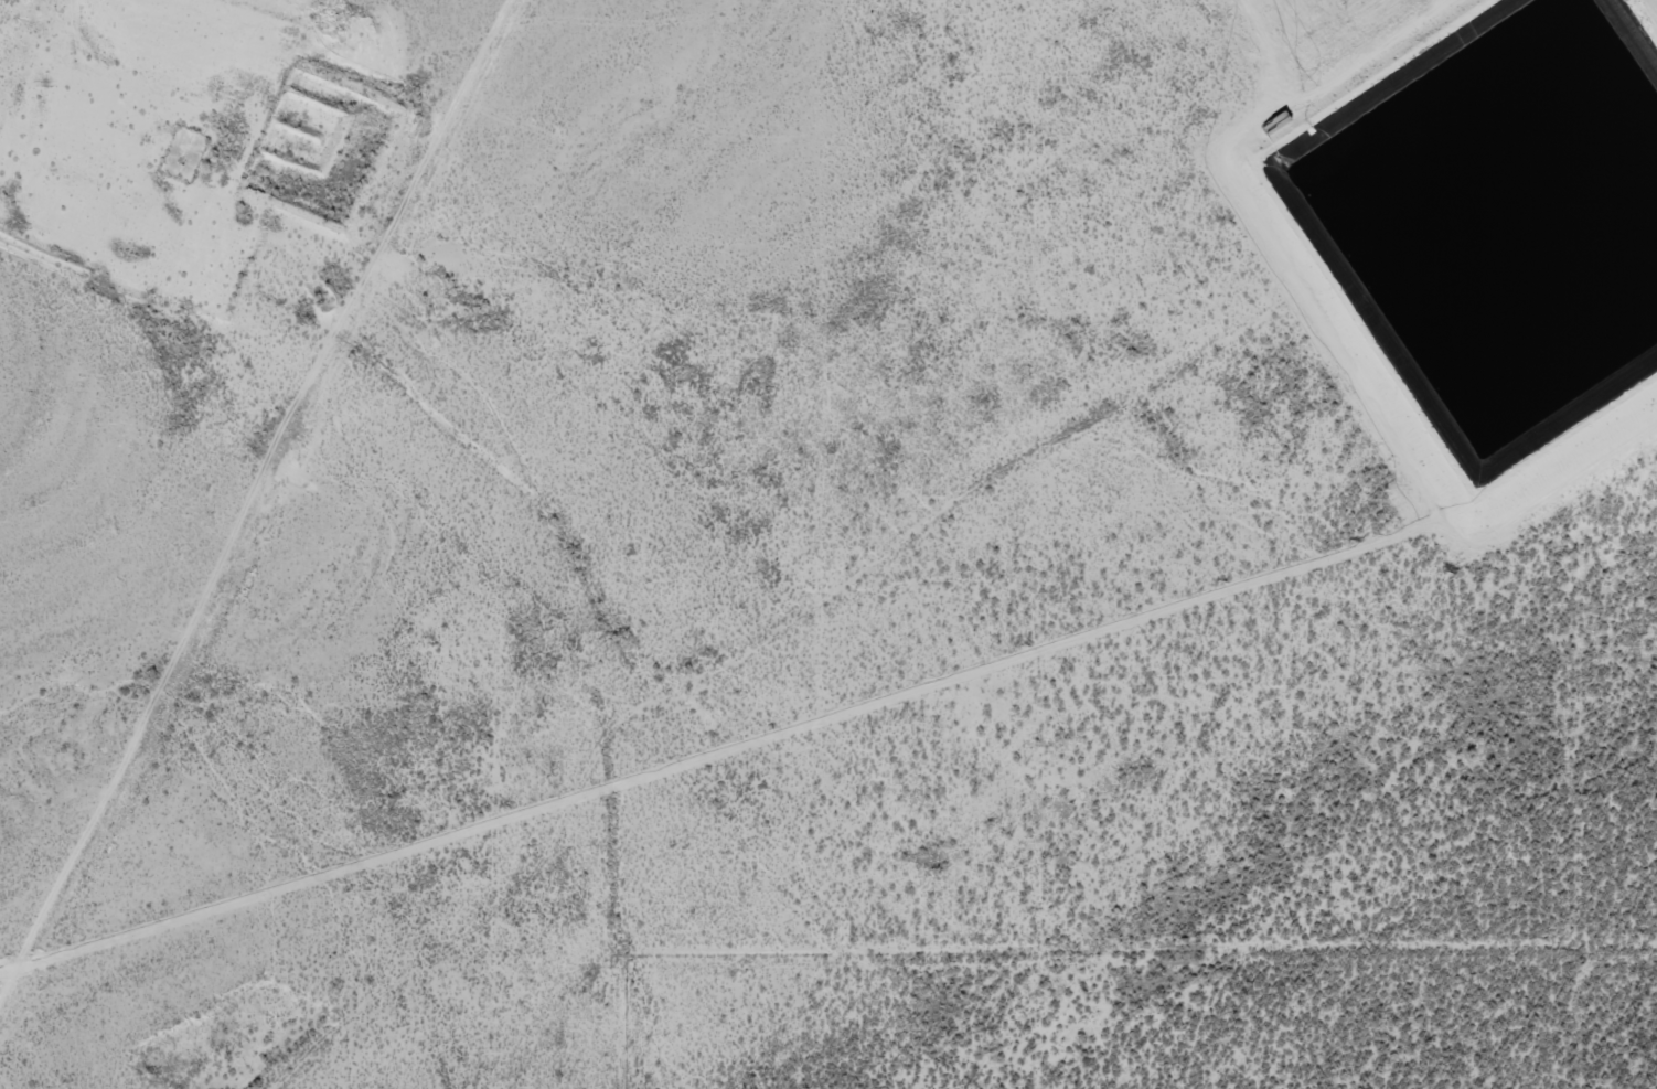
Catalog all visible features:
road: (244, 456)

